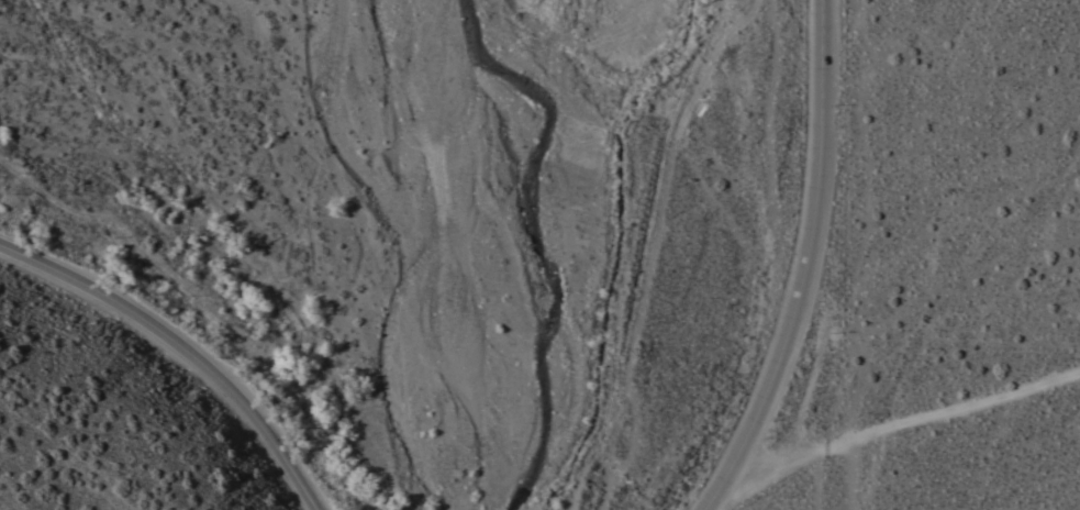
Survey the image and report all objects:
road: (806, 266)
road: (185, 357)

